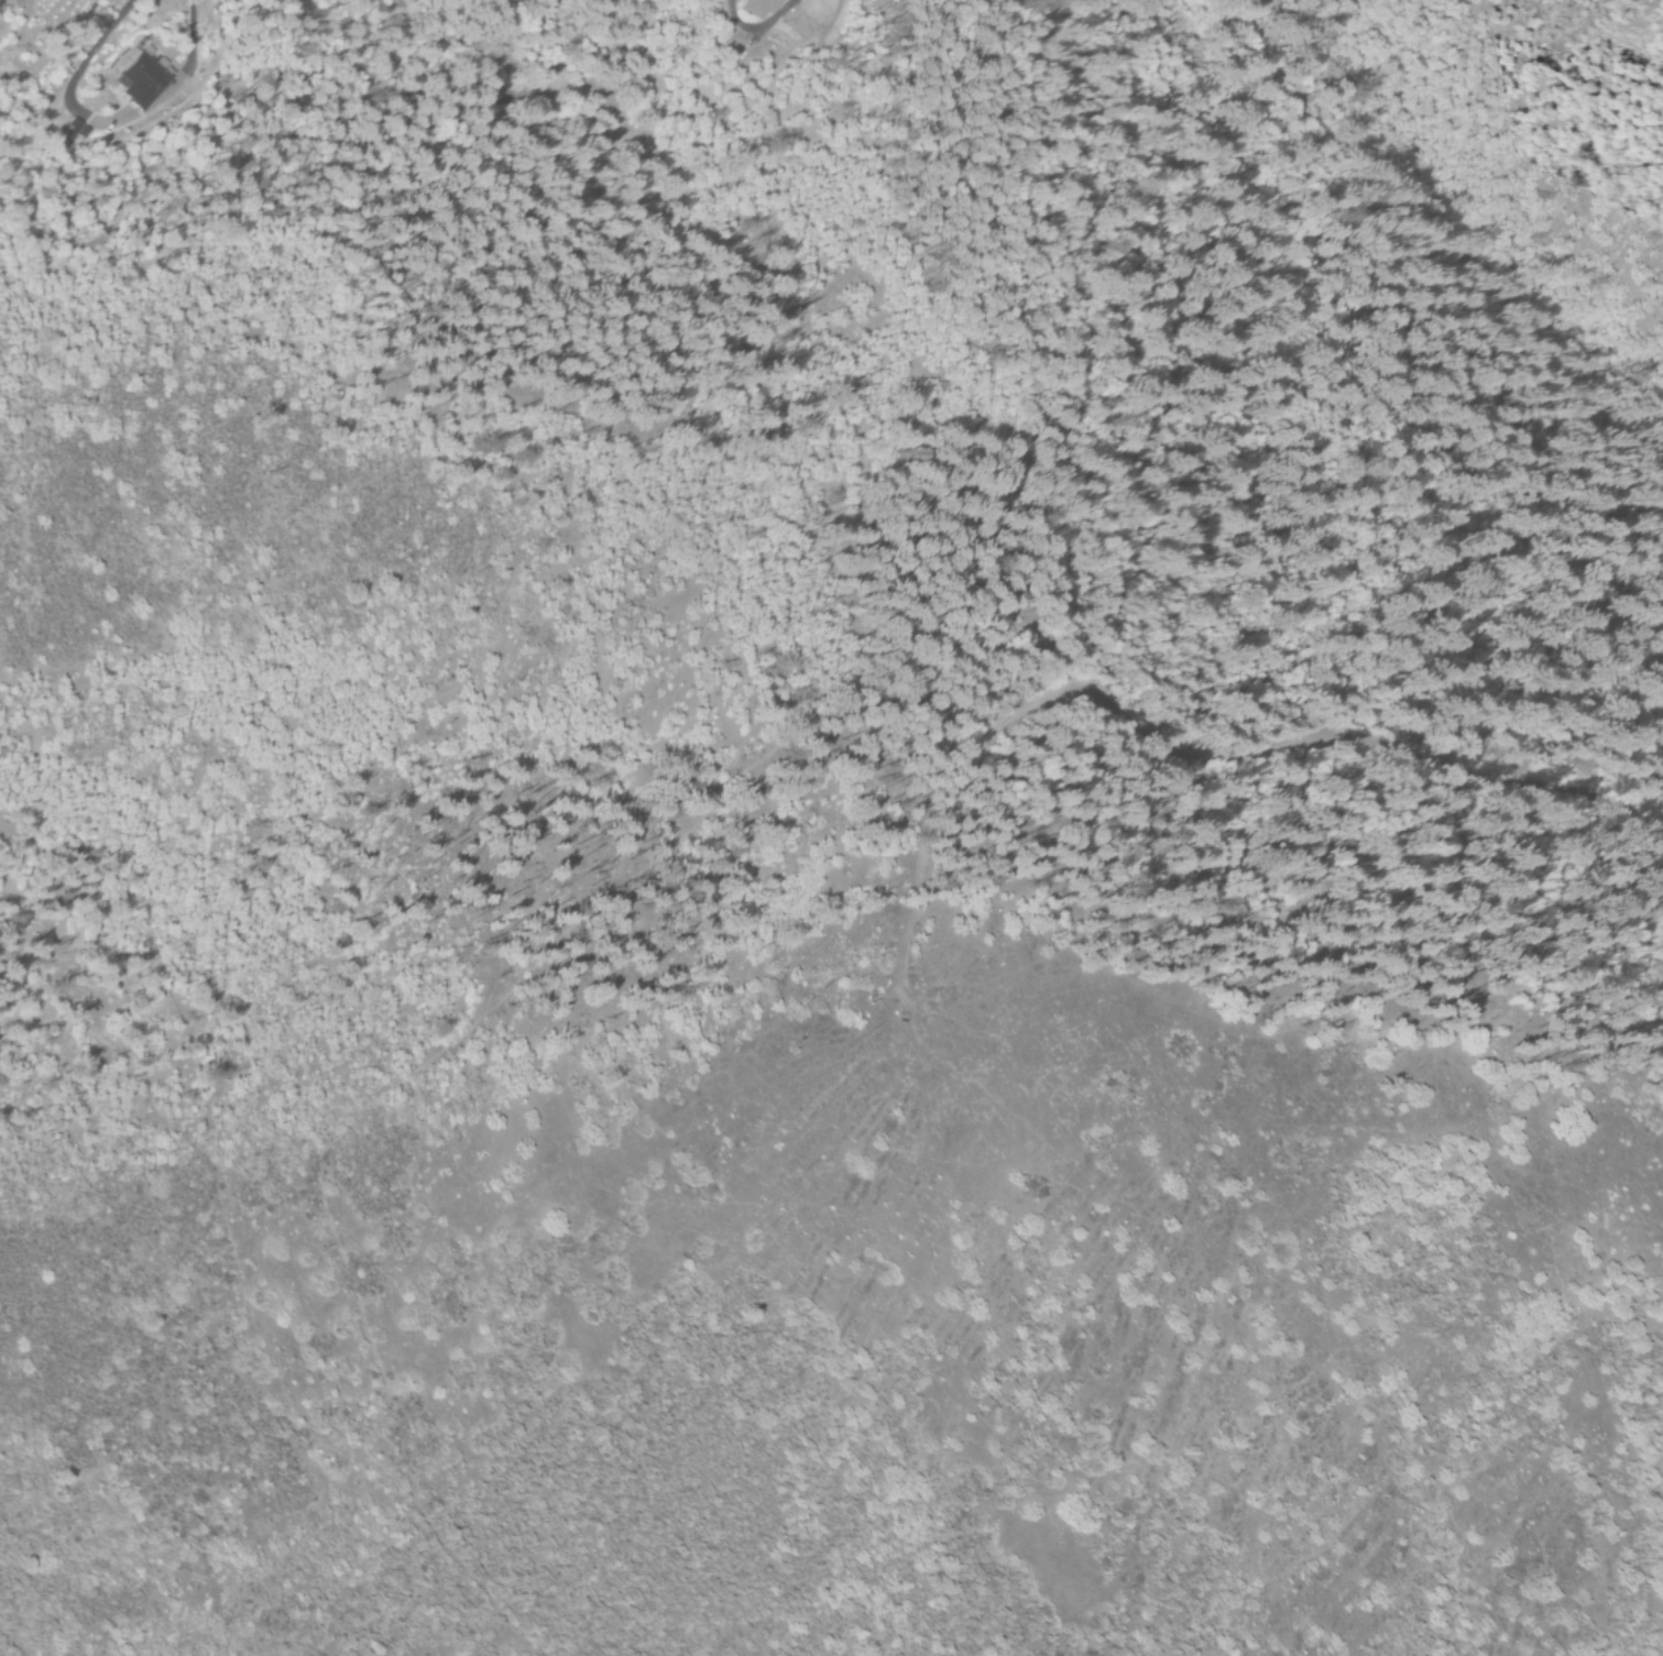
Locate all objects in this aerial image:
building: (758, 8)
building: (141, 76)
road: (1338, 677)

